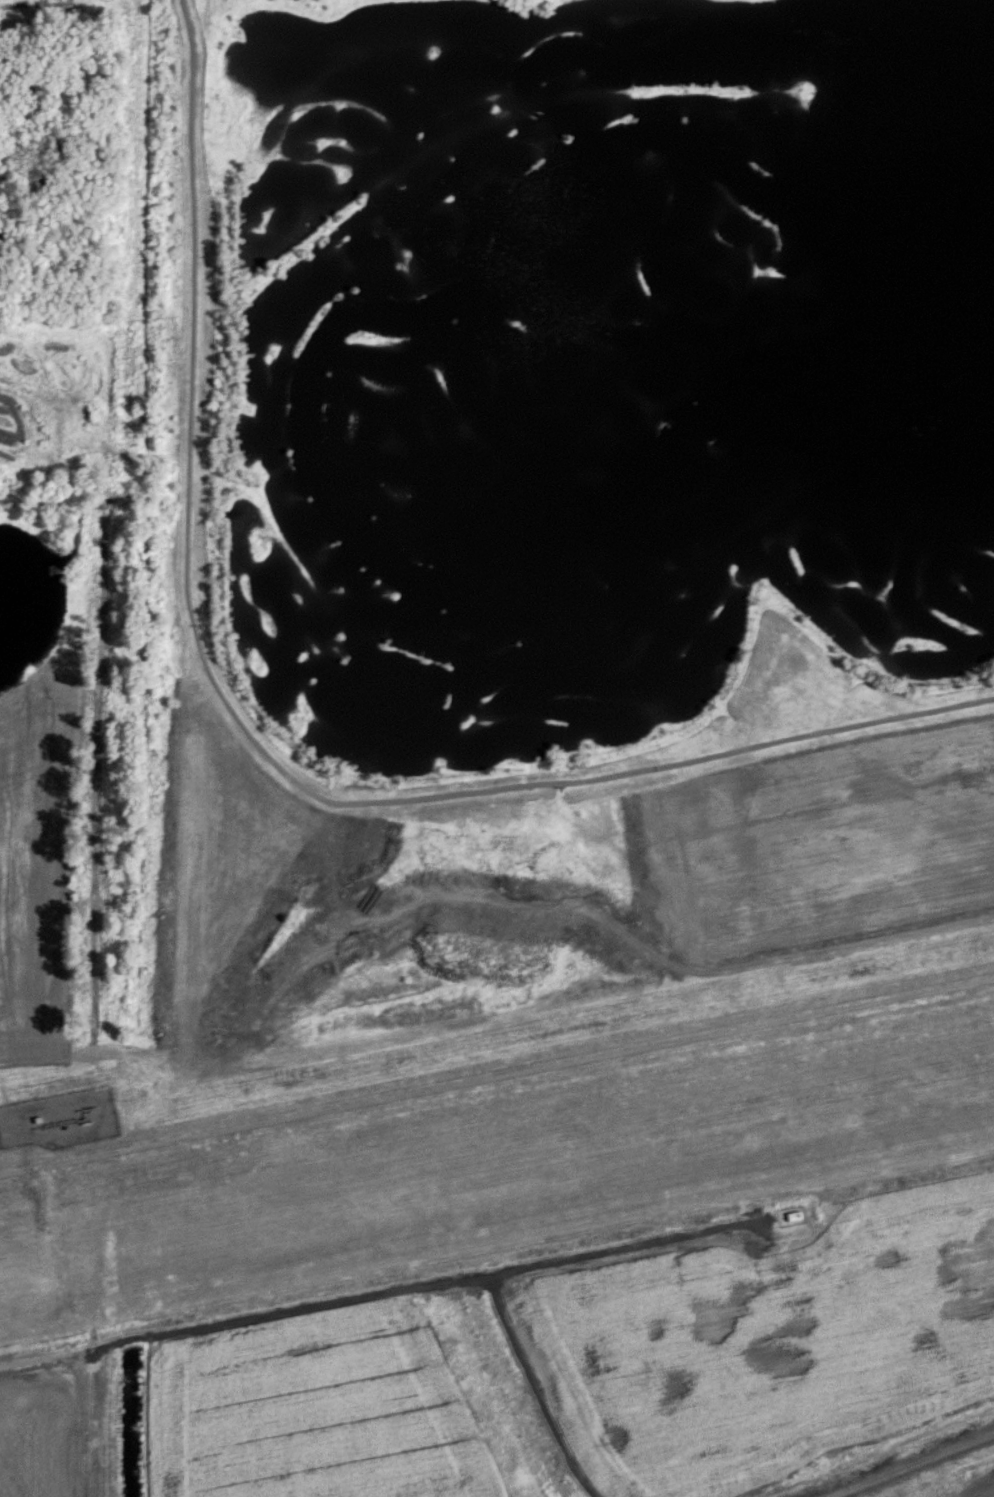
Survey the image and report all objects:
park: (481, 540)
road: (258, 744)
road: (514, 1273)
road: (300, 1312)
road: (15, 1415)
road: (70, 1444)
road: (909, 1462)

